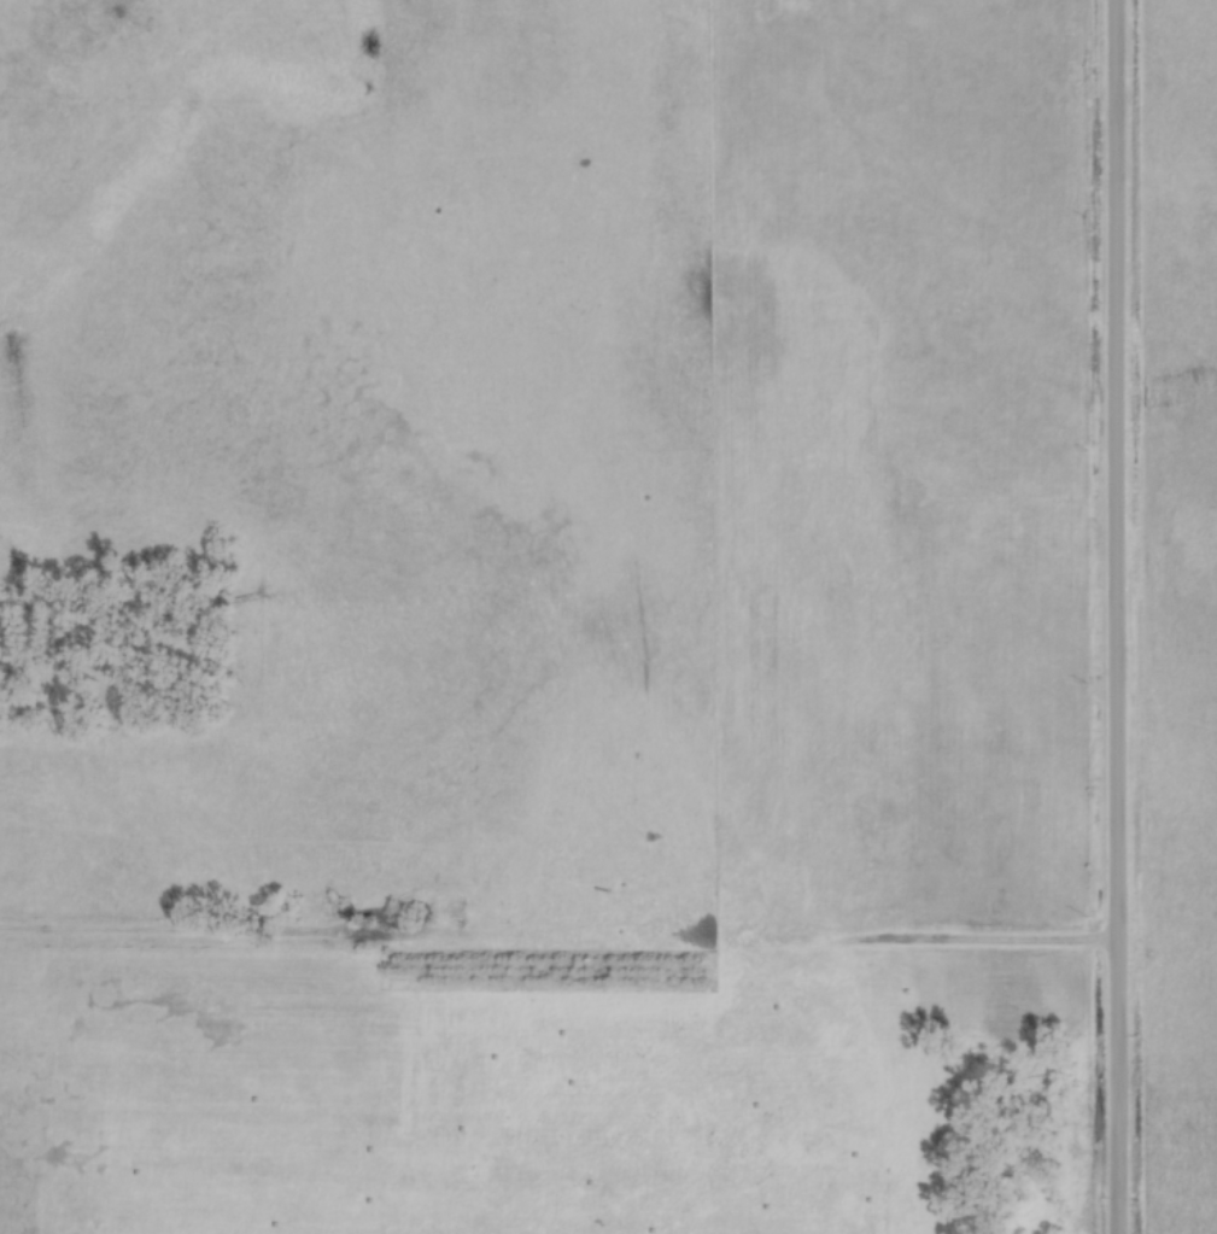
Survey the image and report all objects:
road: (1114, 616)

